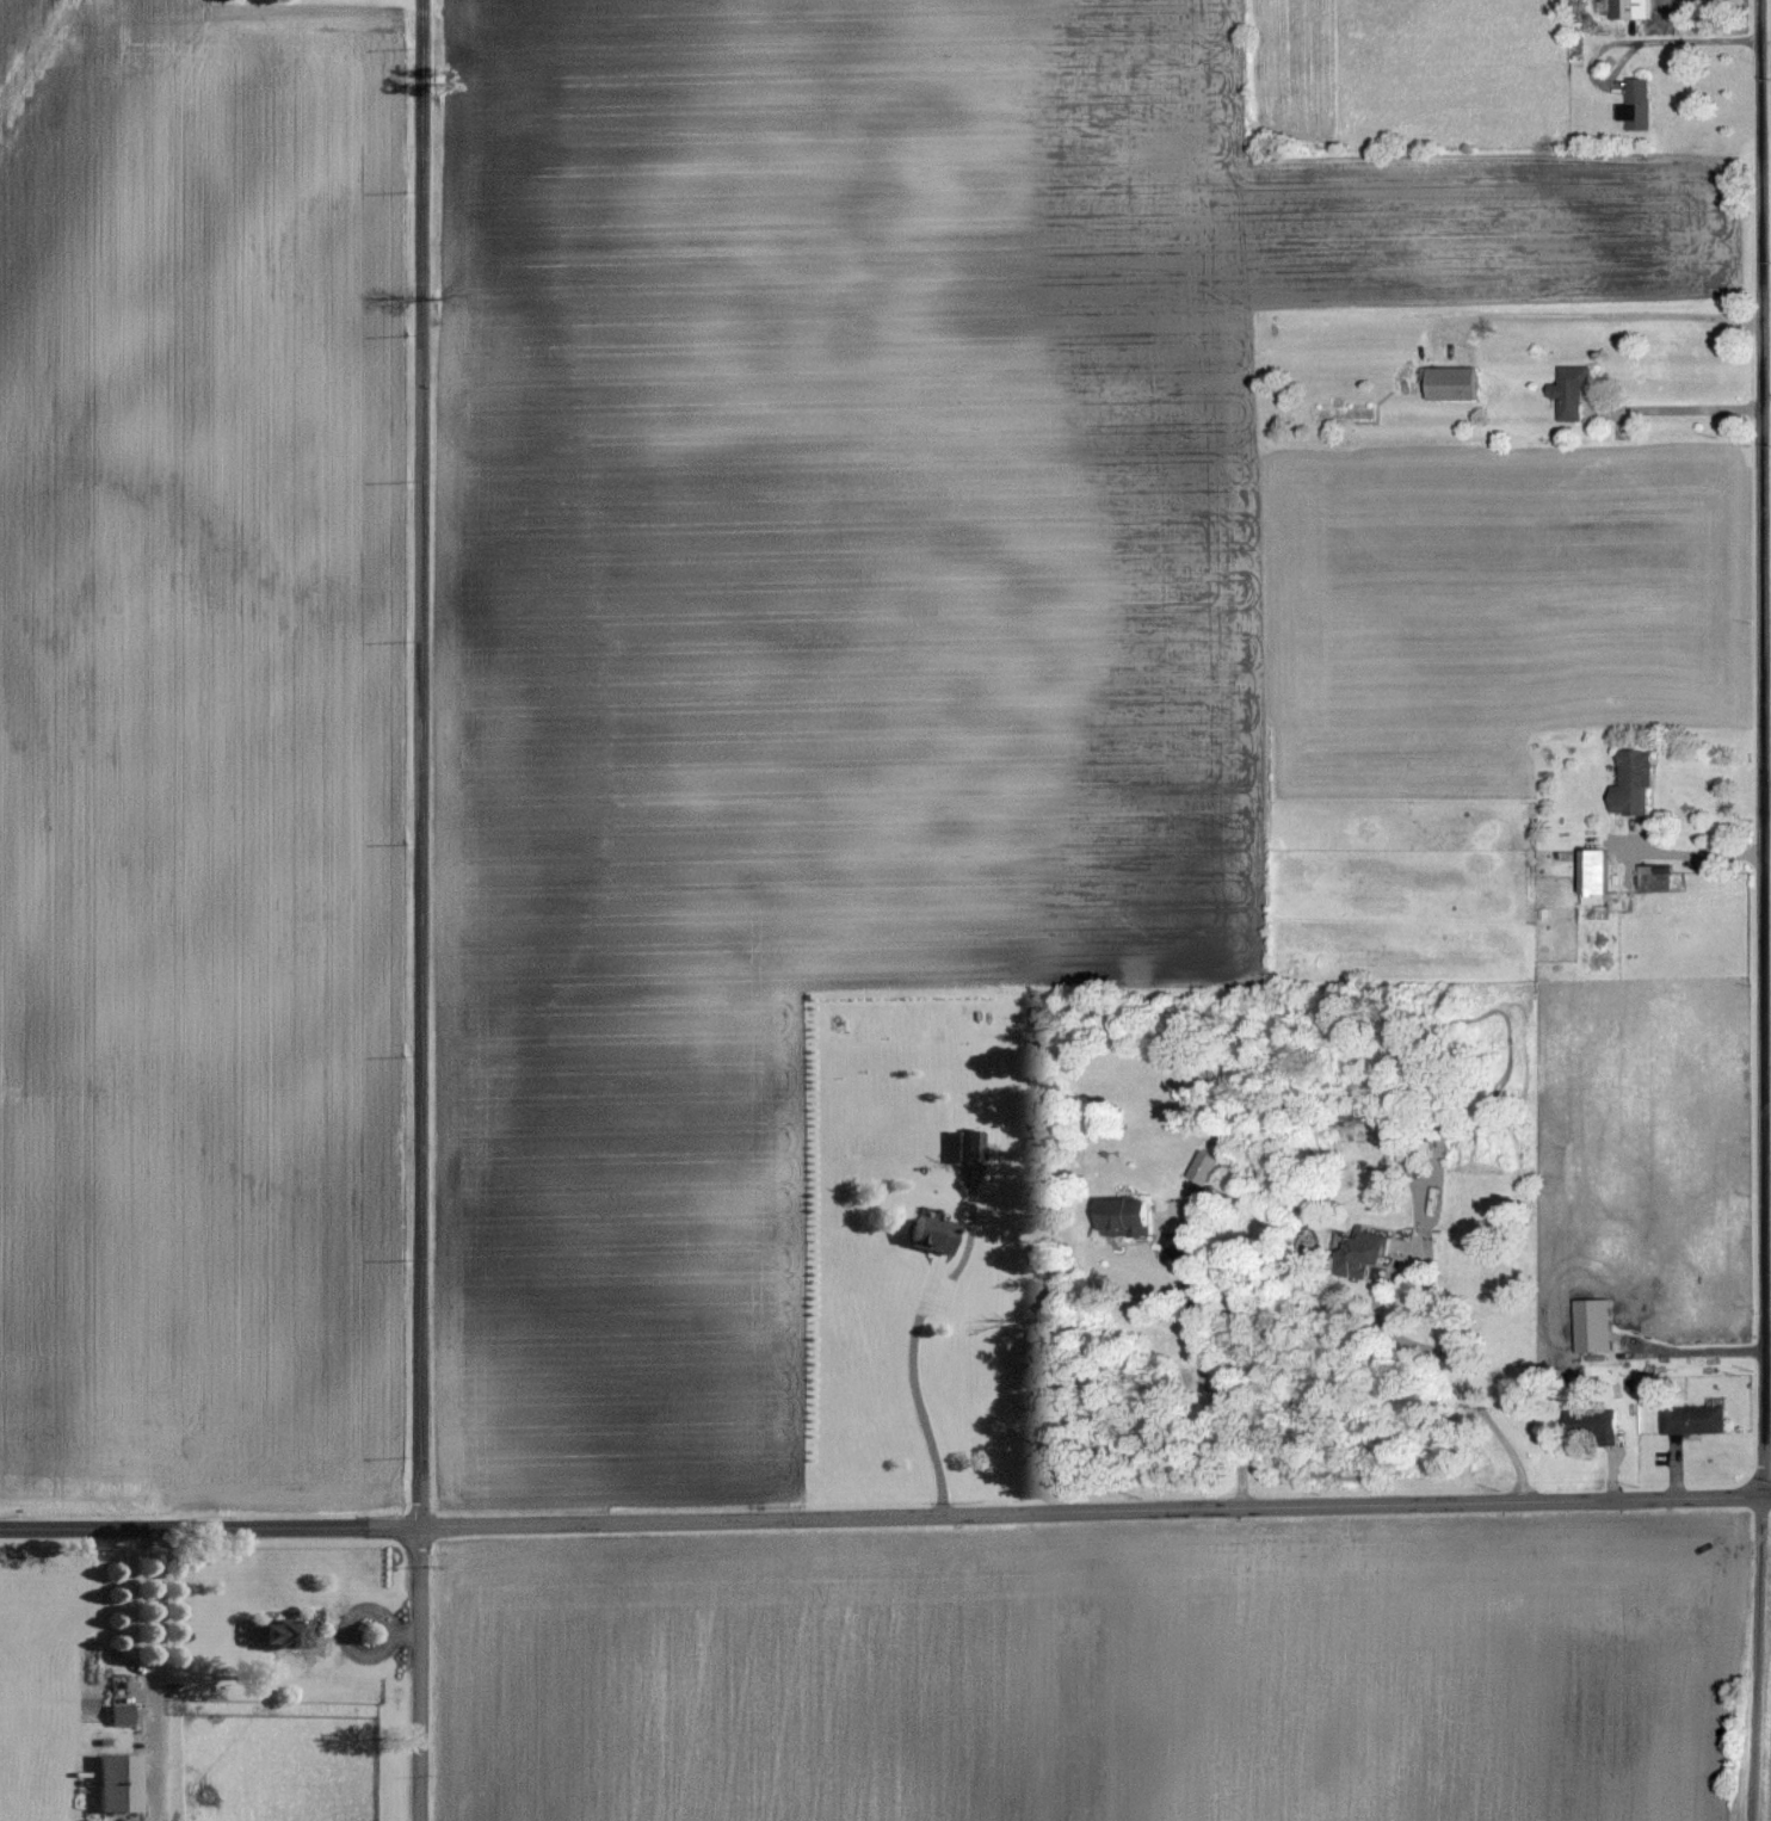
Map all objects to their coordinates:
building: (1628, 8)
building: (1635, 105)
road: (1610, 316)
building: (1449, 382)
building: (1568, 390)
building: (1630, 783)
road: (1690, 854)
building: (1591, 876)
road: (420, 910)
road: (1765, 910)
building: (963, 1146)
building: (1201, 1168)
building: (1129, 1218)
building: (925, 1234)
building: (1359, 1253)
road: (1439, 1310)
building: (1591, 1326)
road: (1205, 1382)
road: (915, 1394)
building: (1691, 1420)
building: (1592, 1424)
road: (885, 1517)
road: (154, 1666)
crop: (1098, 1669)
crop: (1765, 1705)
building: (117, 1715)
building: (111, 1783)

